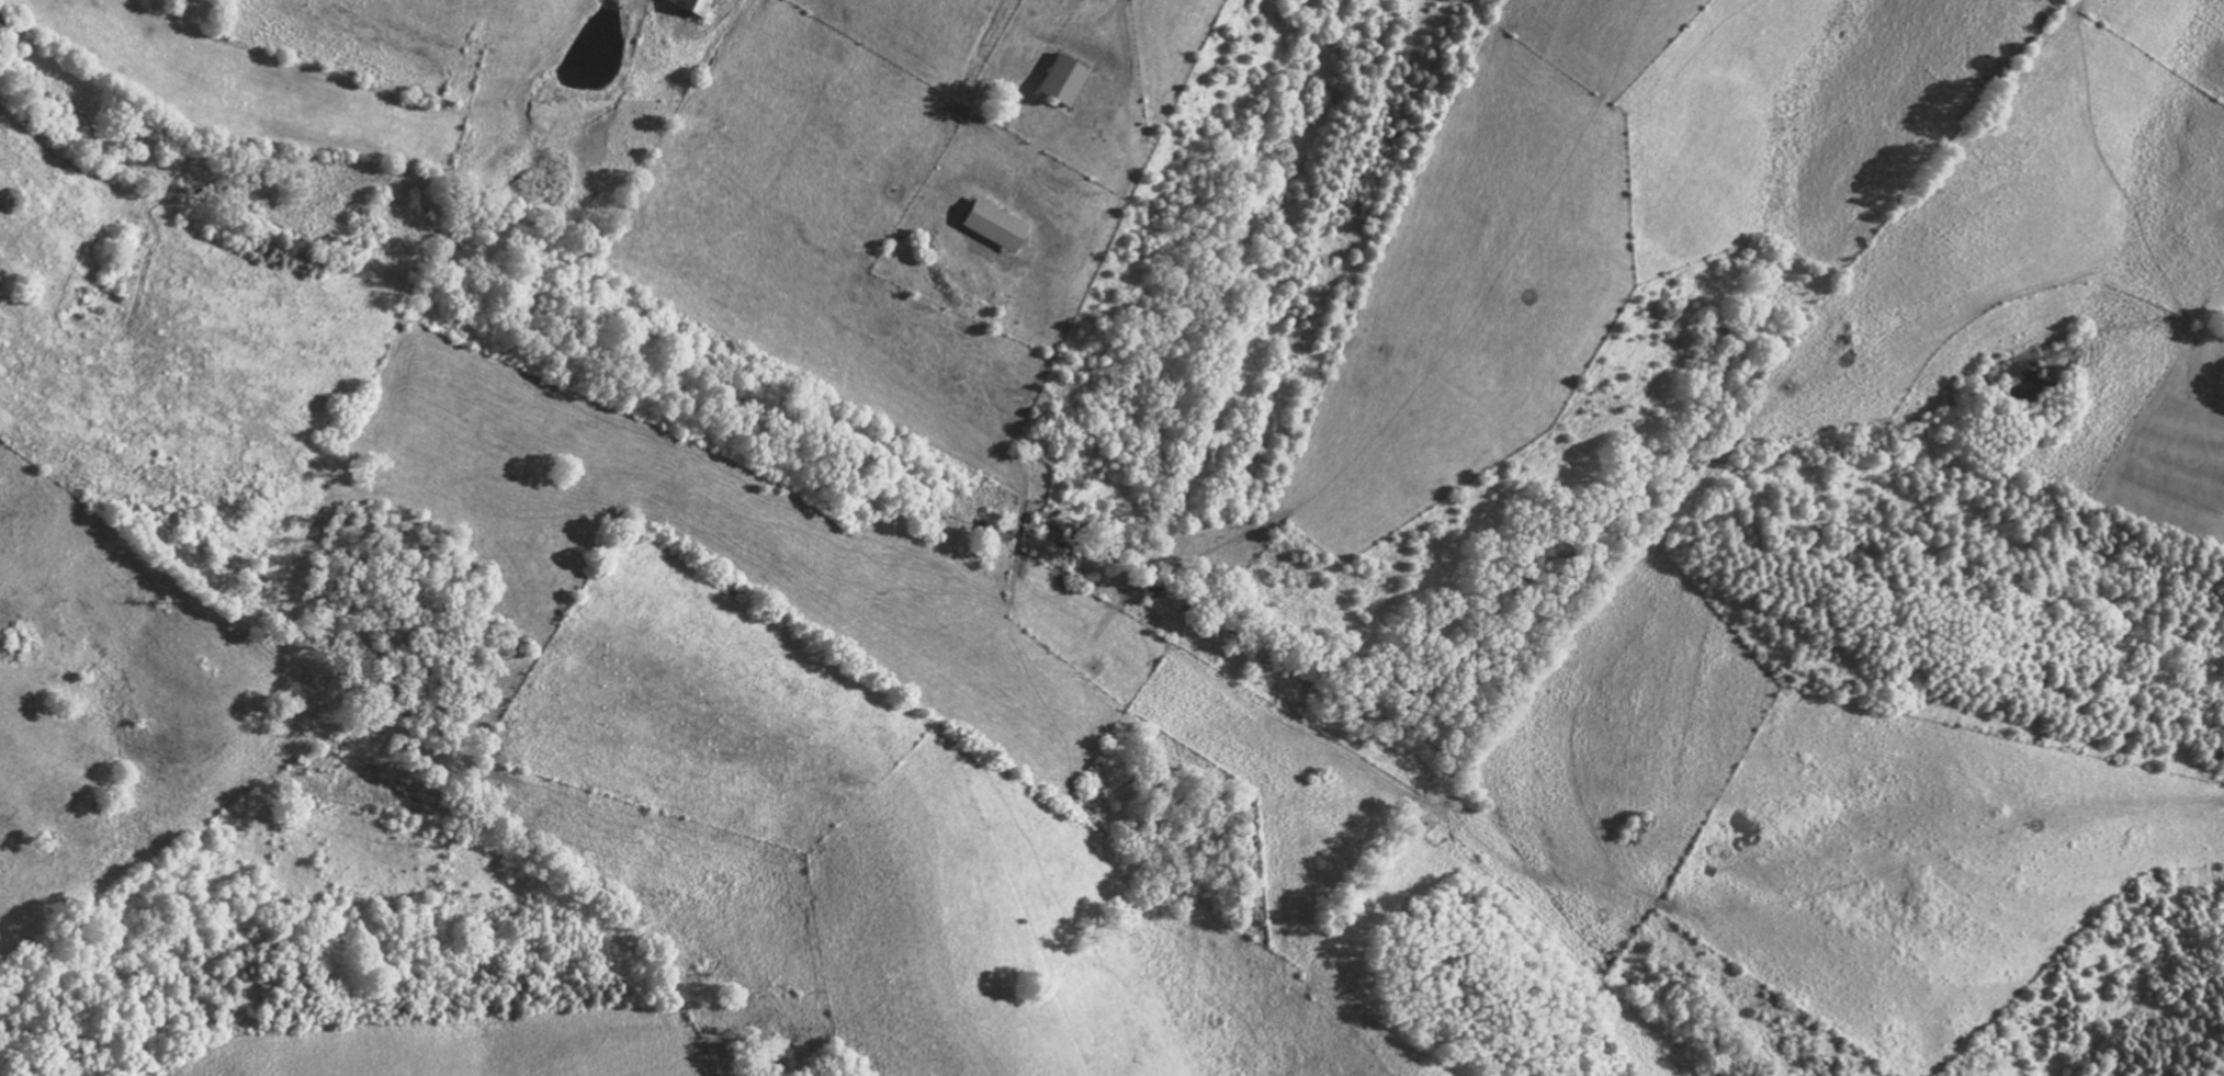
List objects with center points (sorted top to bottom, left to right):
building: (693, 7)
road: (1128, 65)
building: (1066, 80)
building: (996, 224)

